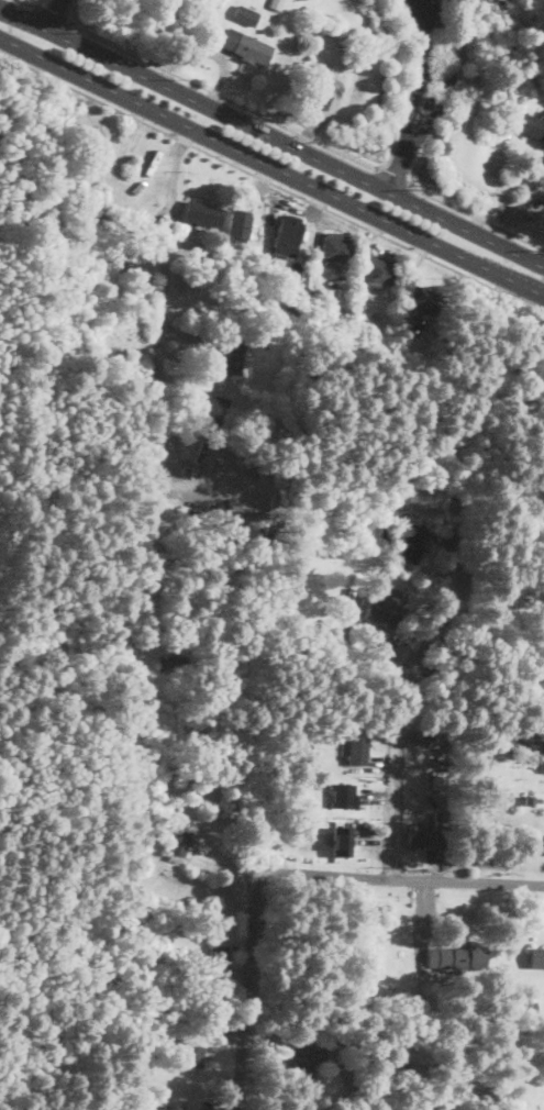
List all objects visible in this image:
road: (30, 3)
building: (276, 4)
road: (423, 11)
road: (53, 14)
road: (54, 14)
building: (245, 14)
building: (260, 30)
building: (245, 46)
road: (435, 79)
road: (420, 82)
road: (448, 84)
road: (403, 86)
building: (311, 87)
road: (220, 93)
building: (428, 101)
building: (530, 126)
road: (271, 137)
road: (271, 167)
road: (398, 168)
road: (392, 175)
road: (271, 182)
building: (203, 213)
road: (474, 215)
building: (240, 225)
building: (289, 233)
building: (220, 236)
building: (213, 244)
building: (333, 249)
building: (379, 270)
building: (292, 288)
building: (422, 299)
building: (358, 304)
building: (399, 321)
building: (231, 355)
road: (159, 379)
building: (208, 409)
building: (284, 425)
building: (411, 543)
building: (385, 606)
building: (368, 636)
road: (428, 651)
building: (364, 654)
building: (173, 664)
building: (357, 746)
building: (438, 750)
building: (438, 778)
building: (343, 795)
building: (530, 799)
building: (425, 835)
building: (331, 837)
building: (352, 842)
building: (179, 844)
road: (399, 879)
building: (167, 890)
building: (387, 907)
crop: (56, 937)
building: (457, 957)
building: (536, 957)
building: (219, 959)
road: (245, 988)
building: (526, 1007)
building: (189, 1054)
building: (302, 1061)
building: (369, 1061)
building: (403, 1061)
building: (400, 1096)
building: (173, 1107)

